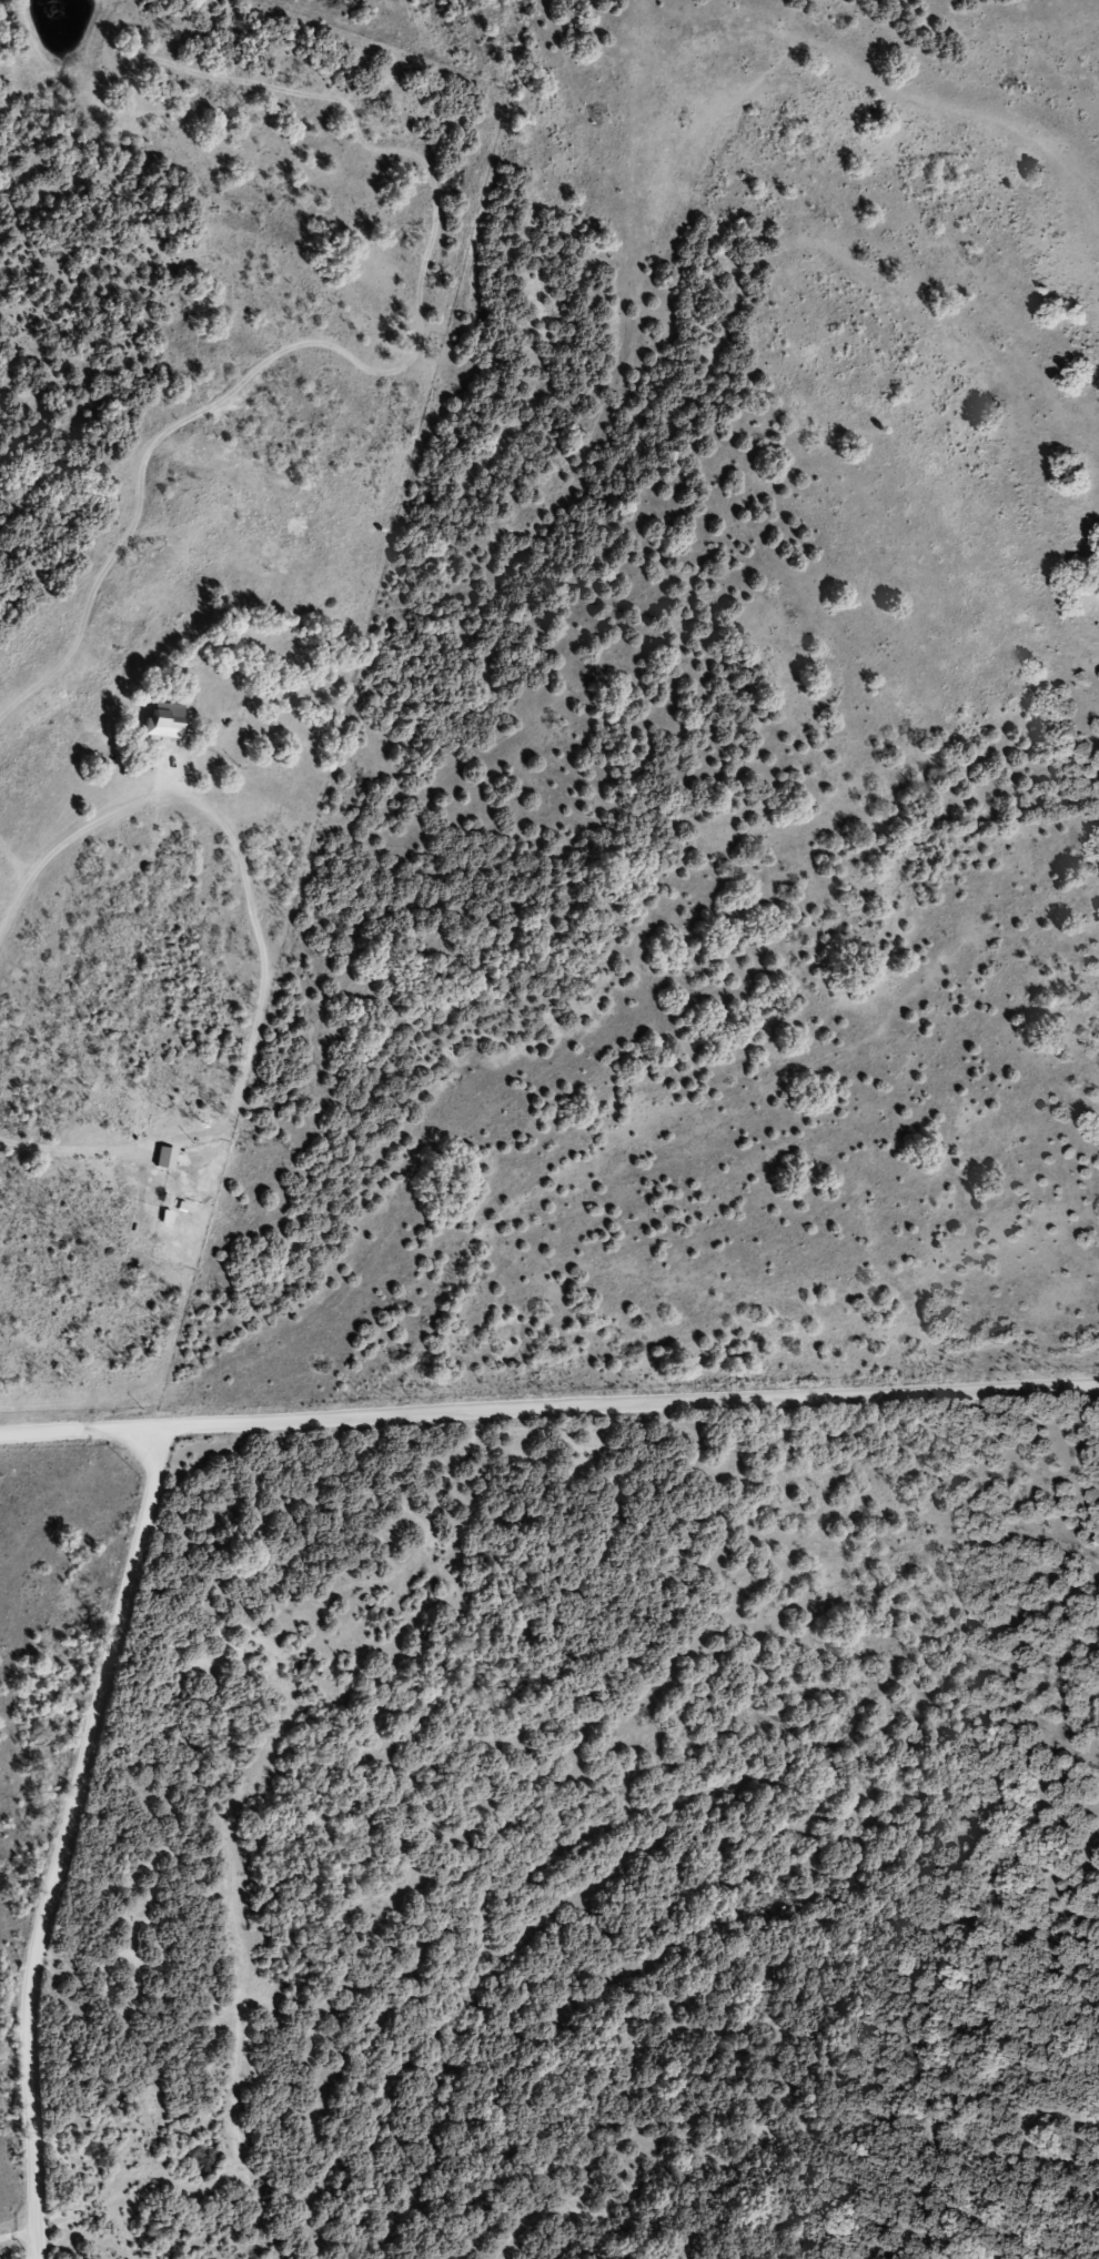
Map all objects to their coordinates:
road: (966, 97)
building: (169, 725)
road: (760, 1085)
building: (169, 1160)
road: (548, 1406)
road: (65, 1836)

